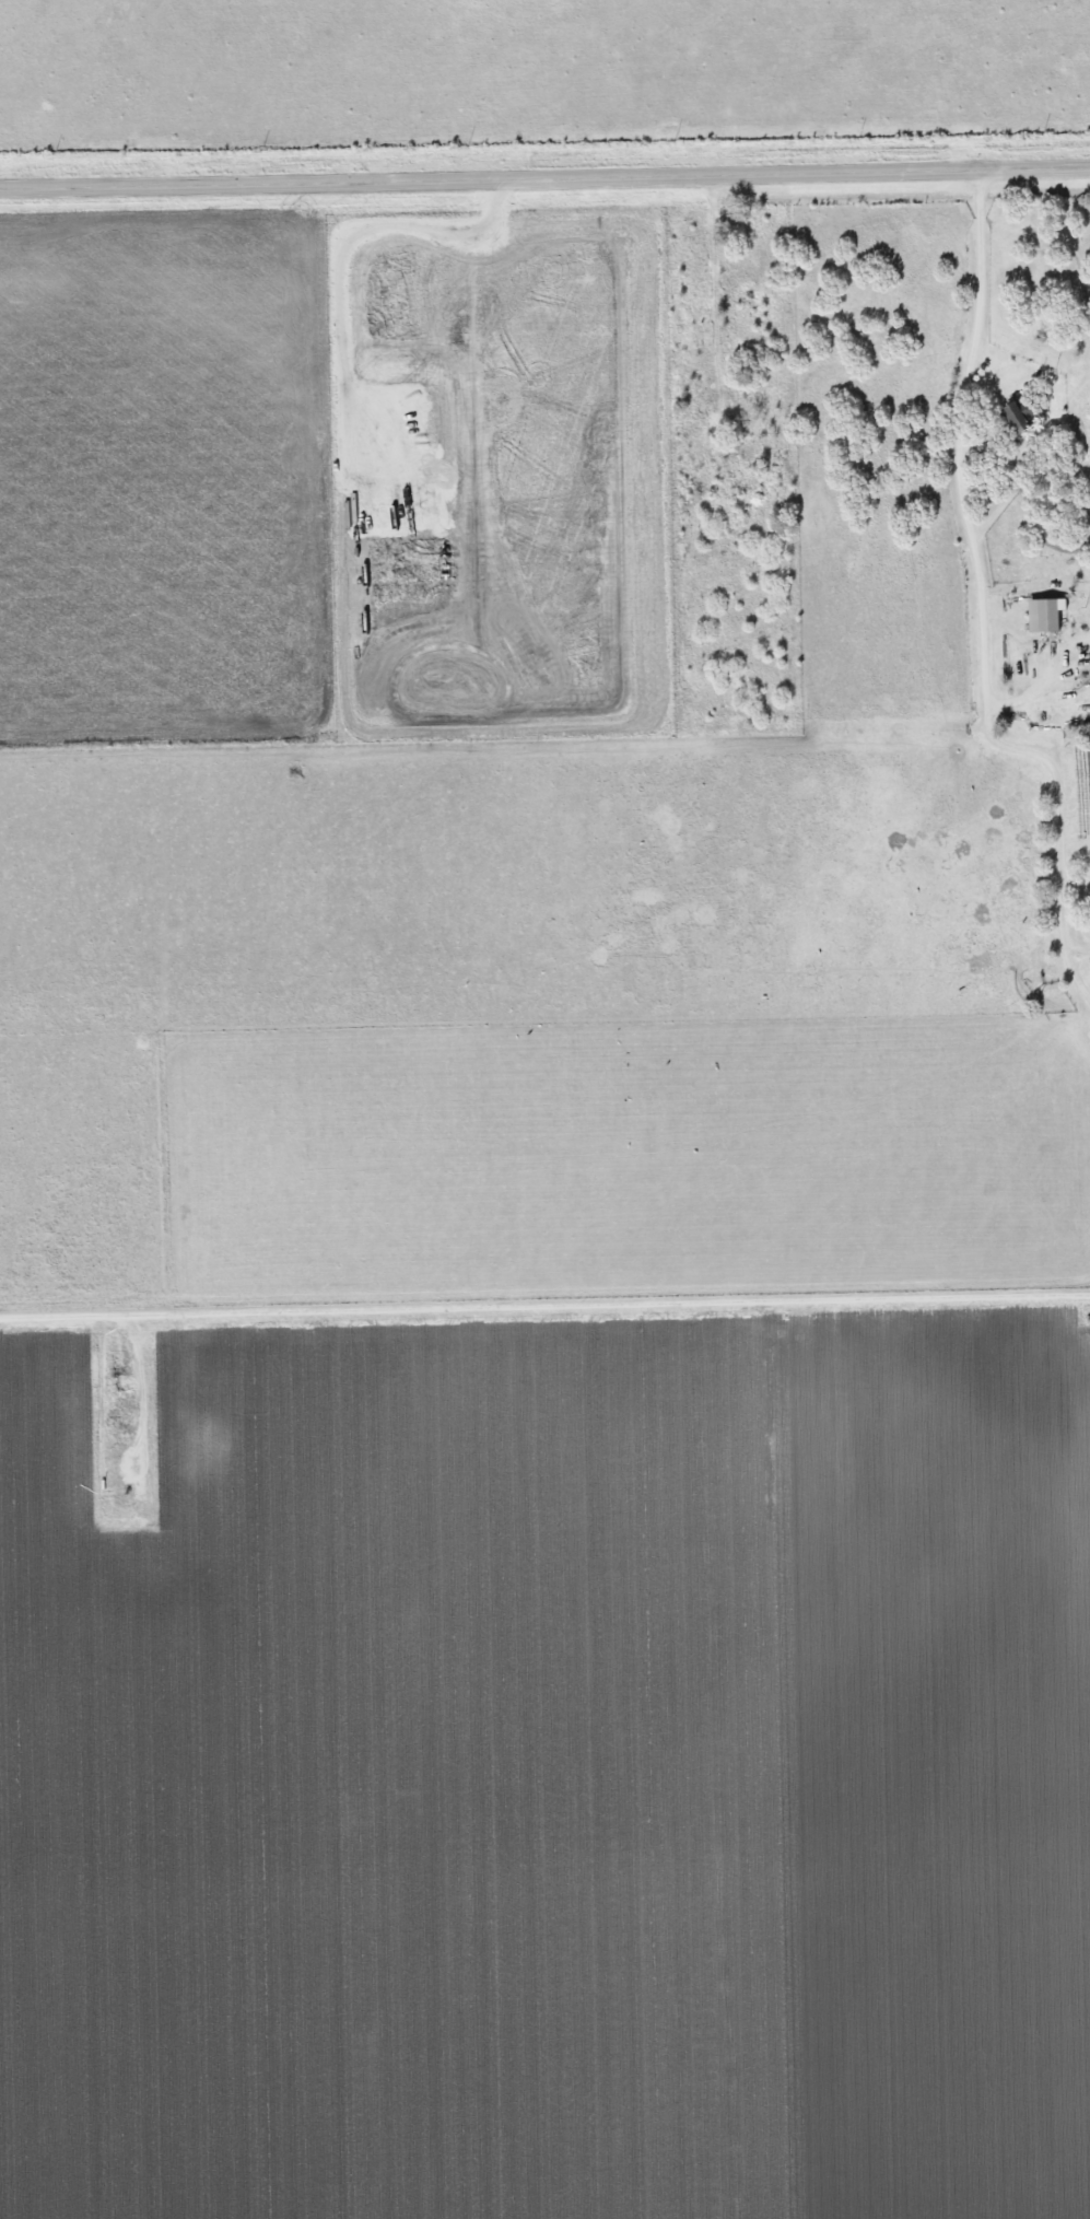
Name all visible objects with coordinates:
road: (544, 165)
building: (1012, 417)
road: (965, 605)
building: (1040, 616)
building: (1089, 907)
road: (544, 1288)

